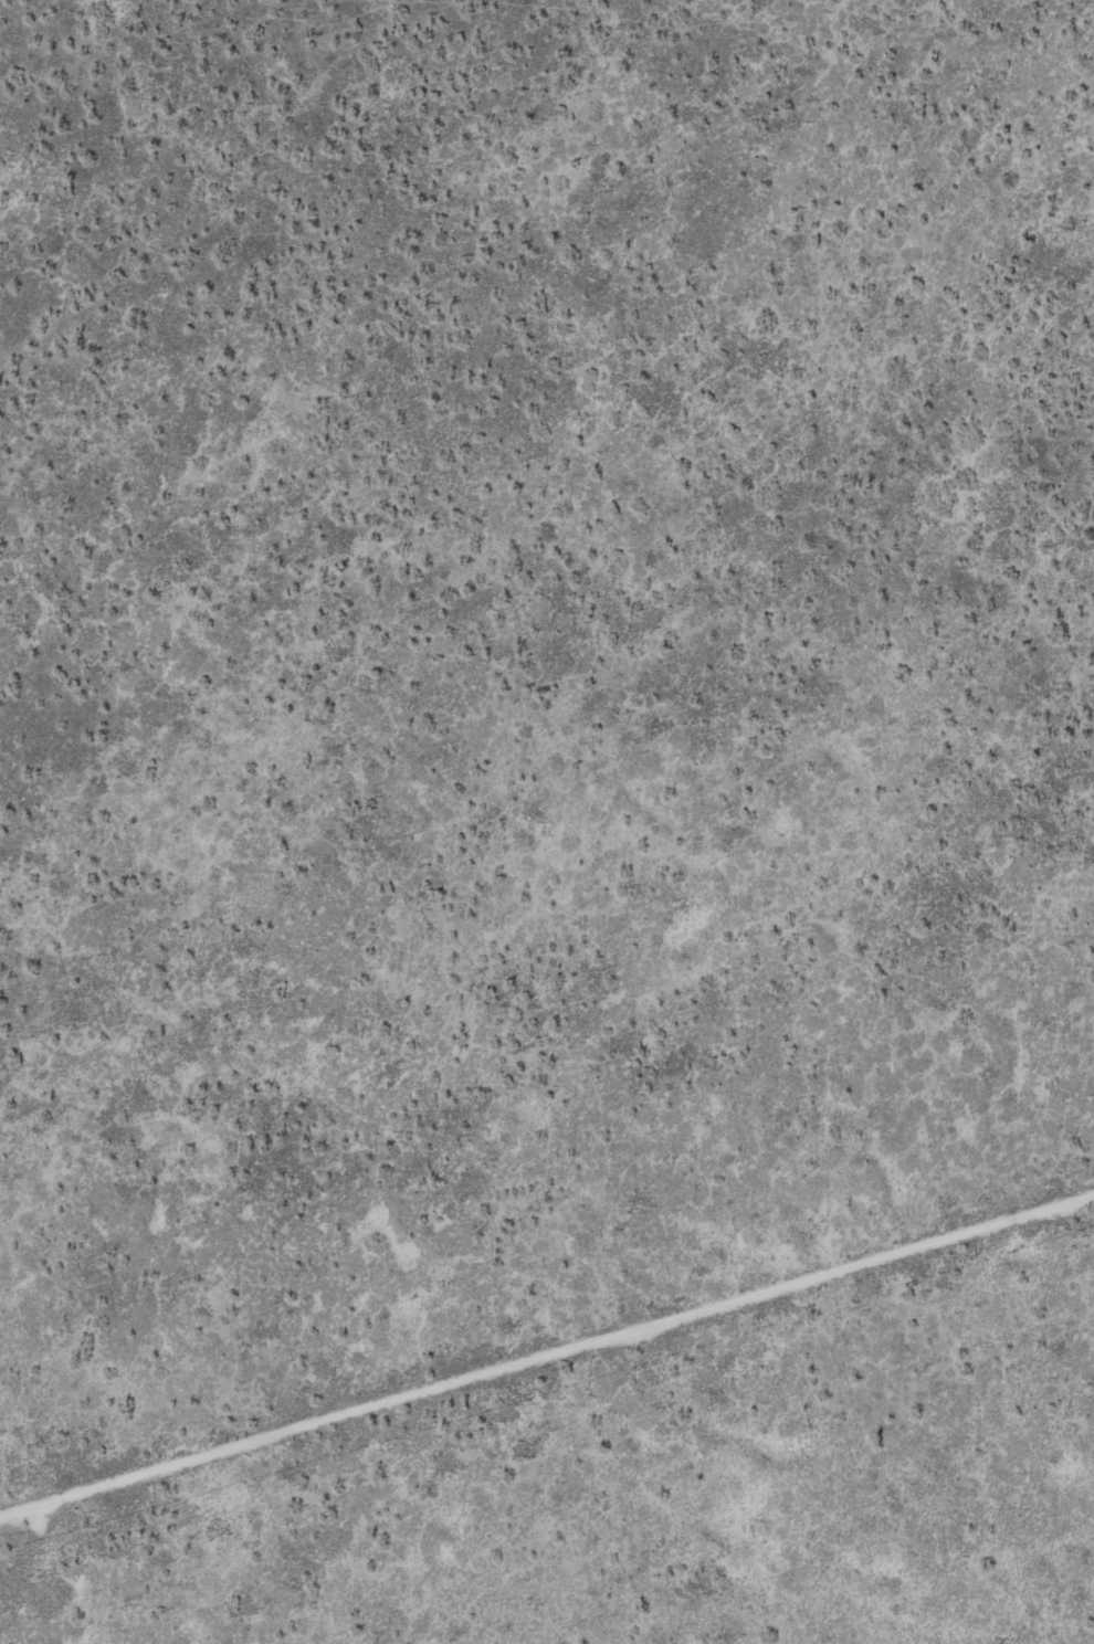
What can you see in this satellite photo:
road: (547, 1353)

